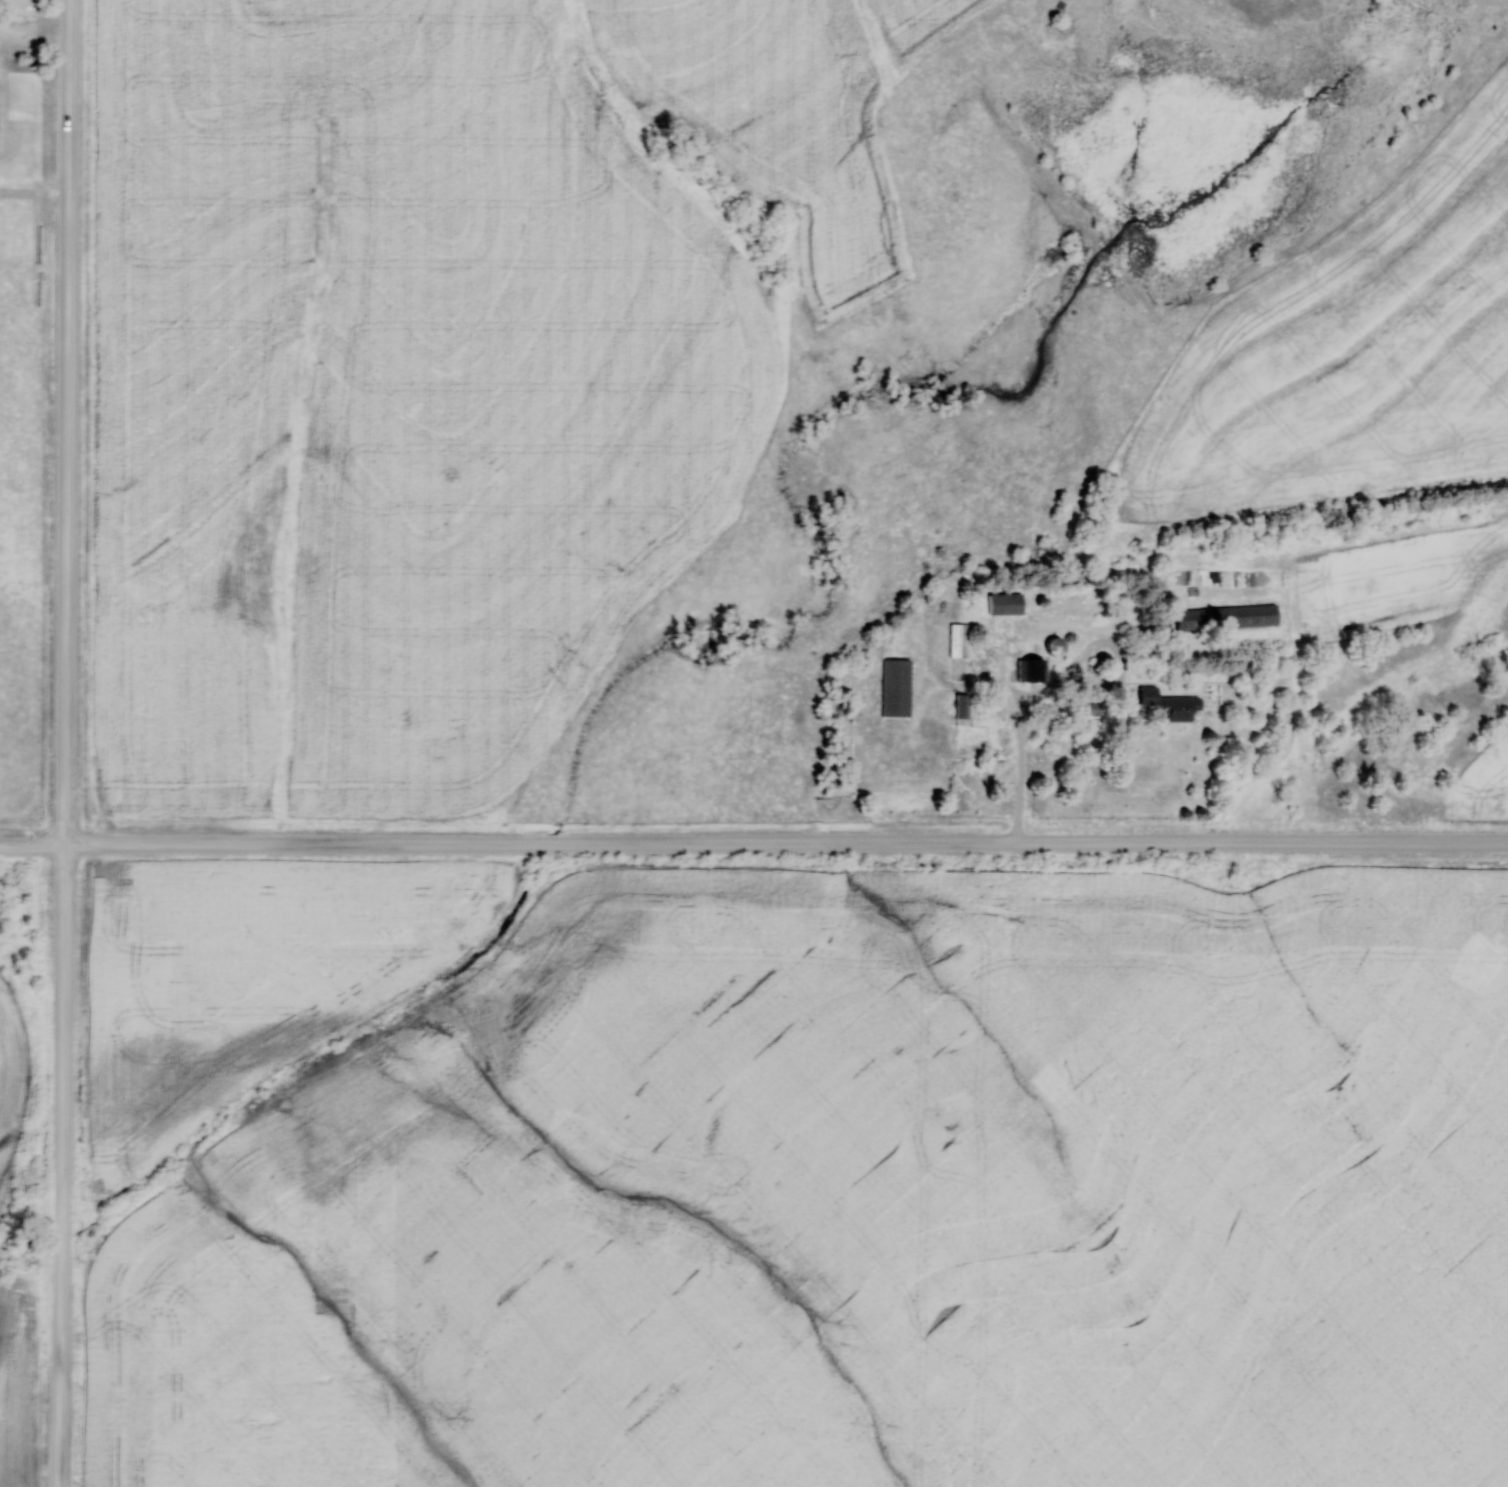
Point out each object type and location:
dam: (1073, 206)
building: (1006, 603)
building: (1226, 618)
building: (1057, 646)
building: (1033, 670)
building: (897, 688)
building: (1171, 704)
building: (963, 705)
road: (65, 743)
road: (753, 844)

